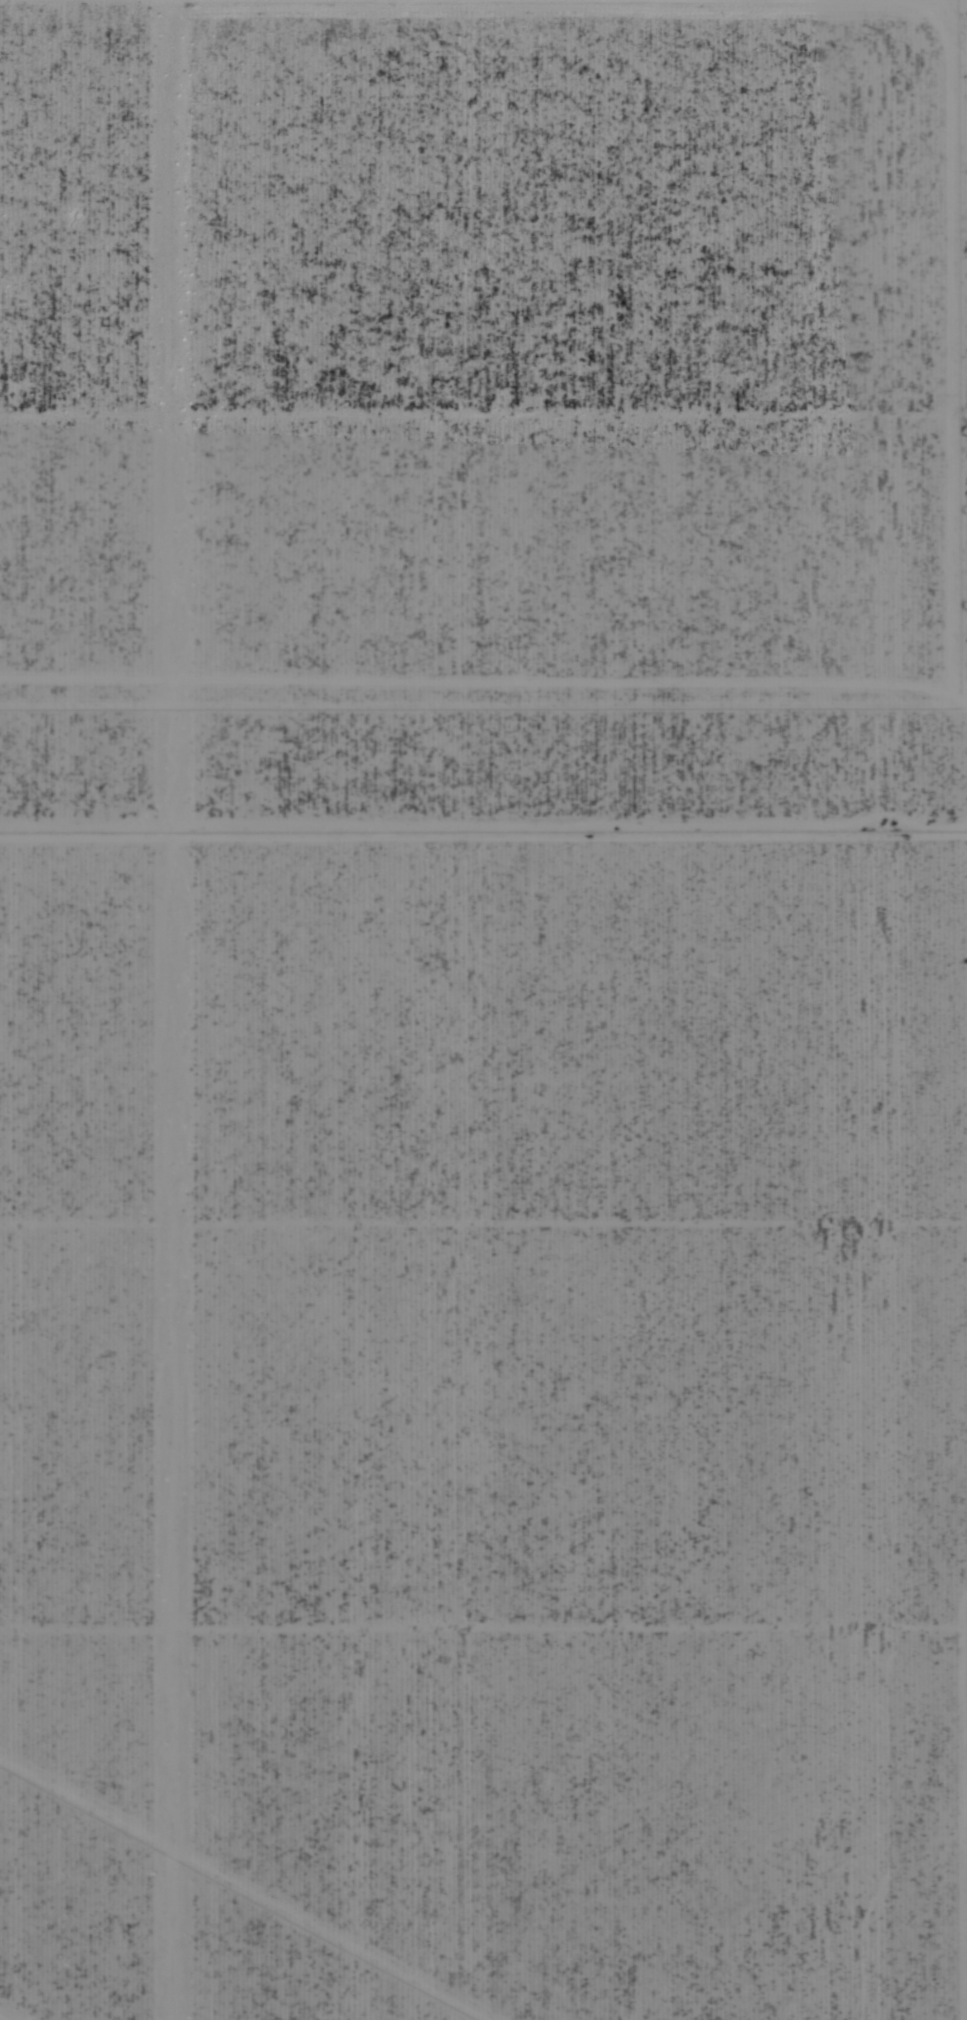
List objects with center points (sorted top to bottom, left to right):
crop: (483, 1010)

